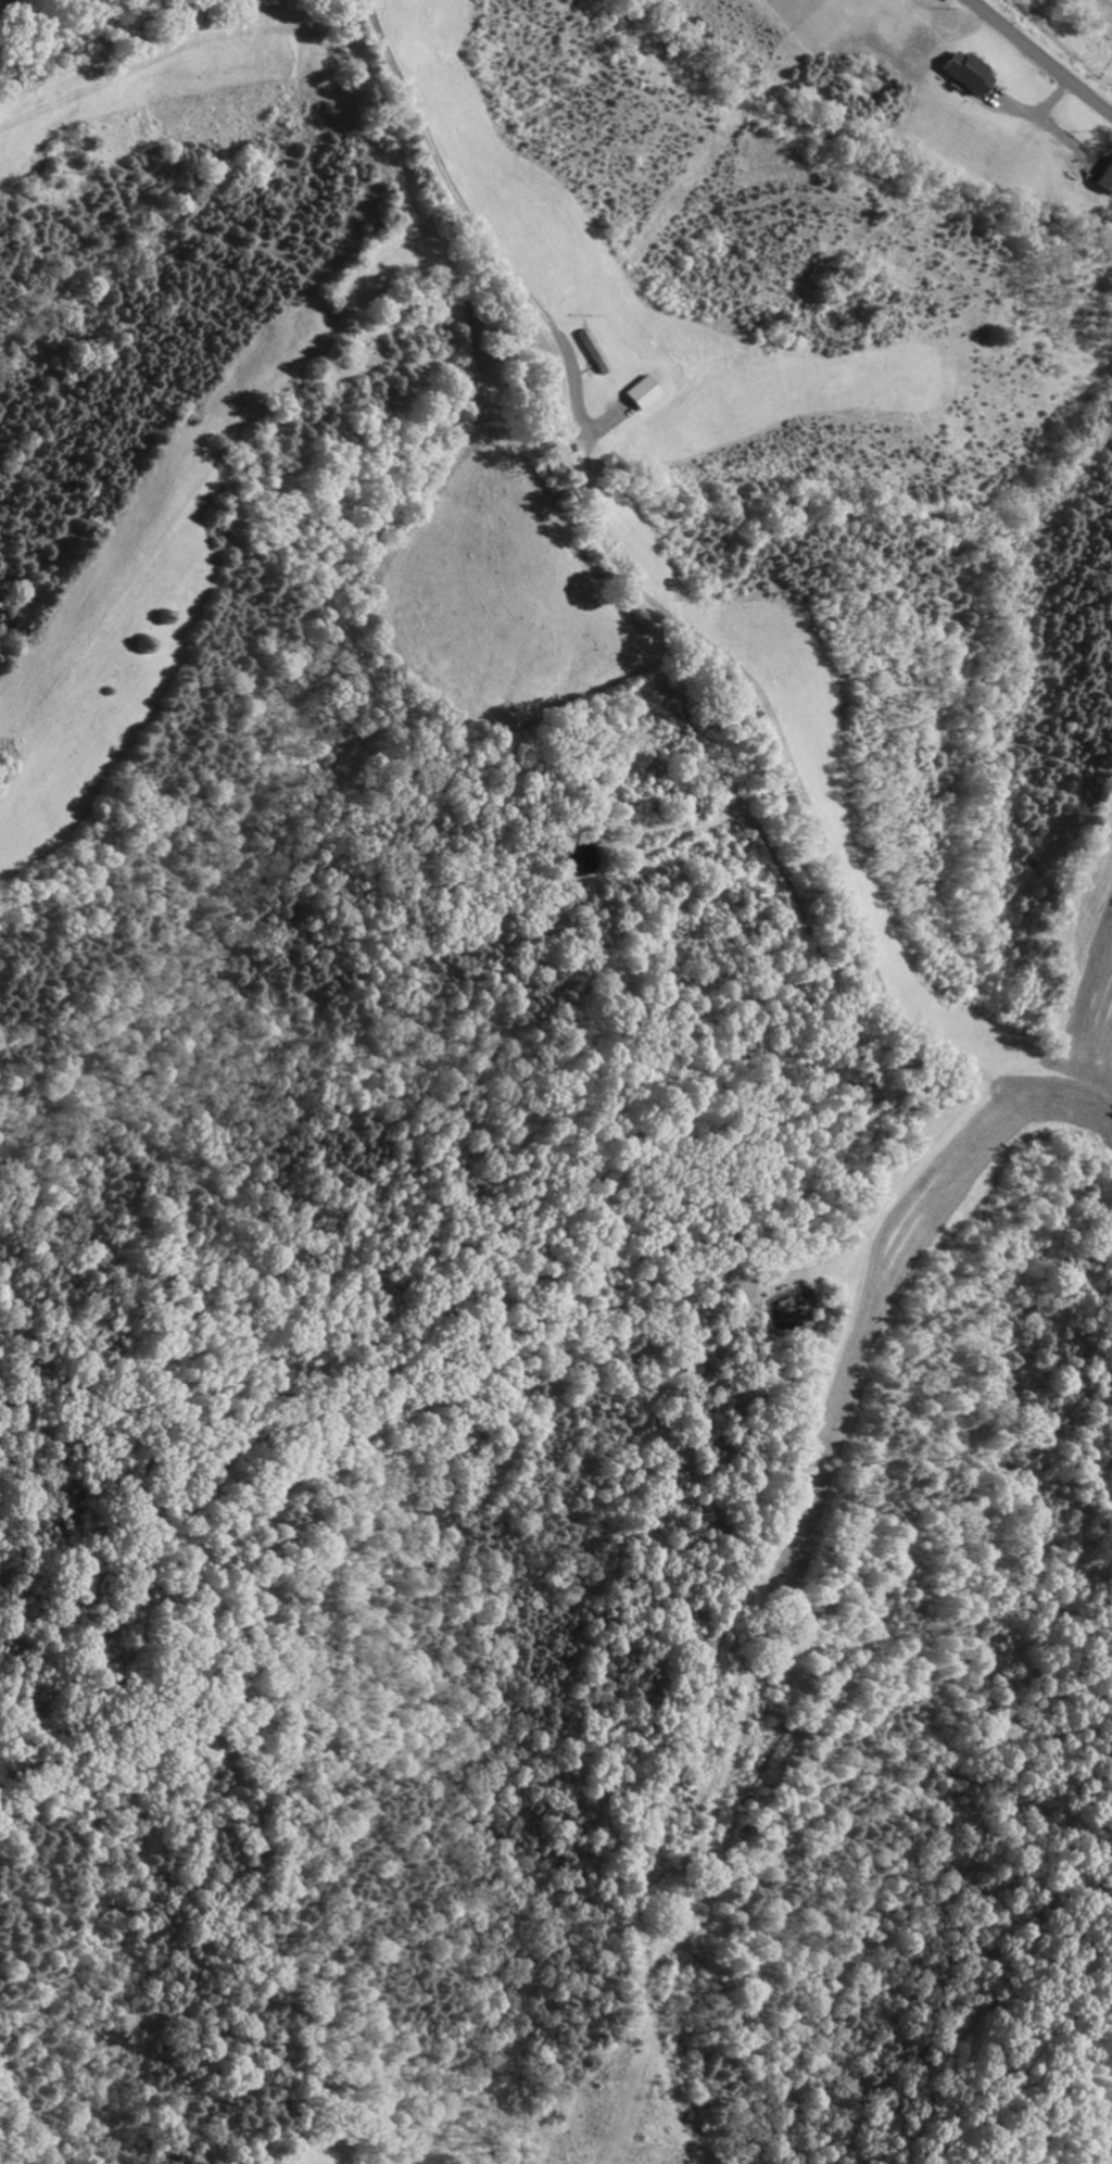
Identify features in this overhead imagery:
road: (1040, 58)
building: (966, 74)
building: (1105, 178)

